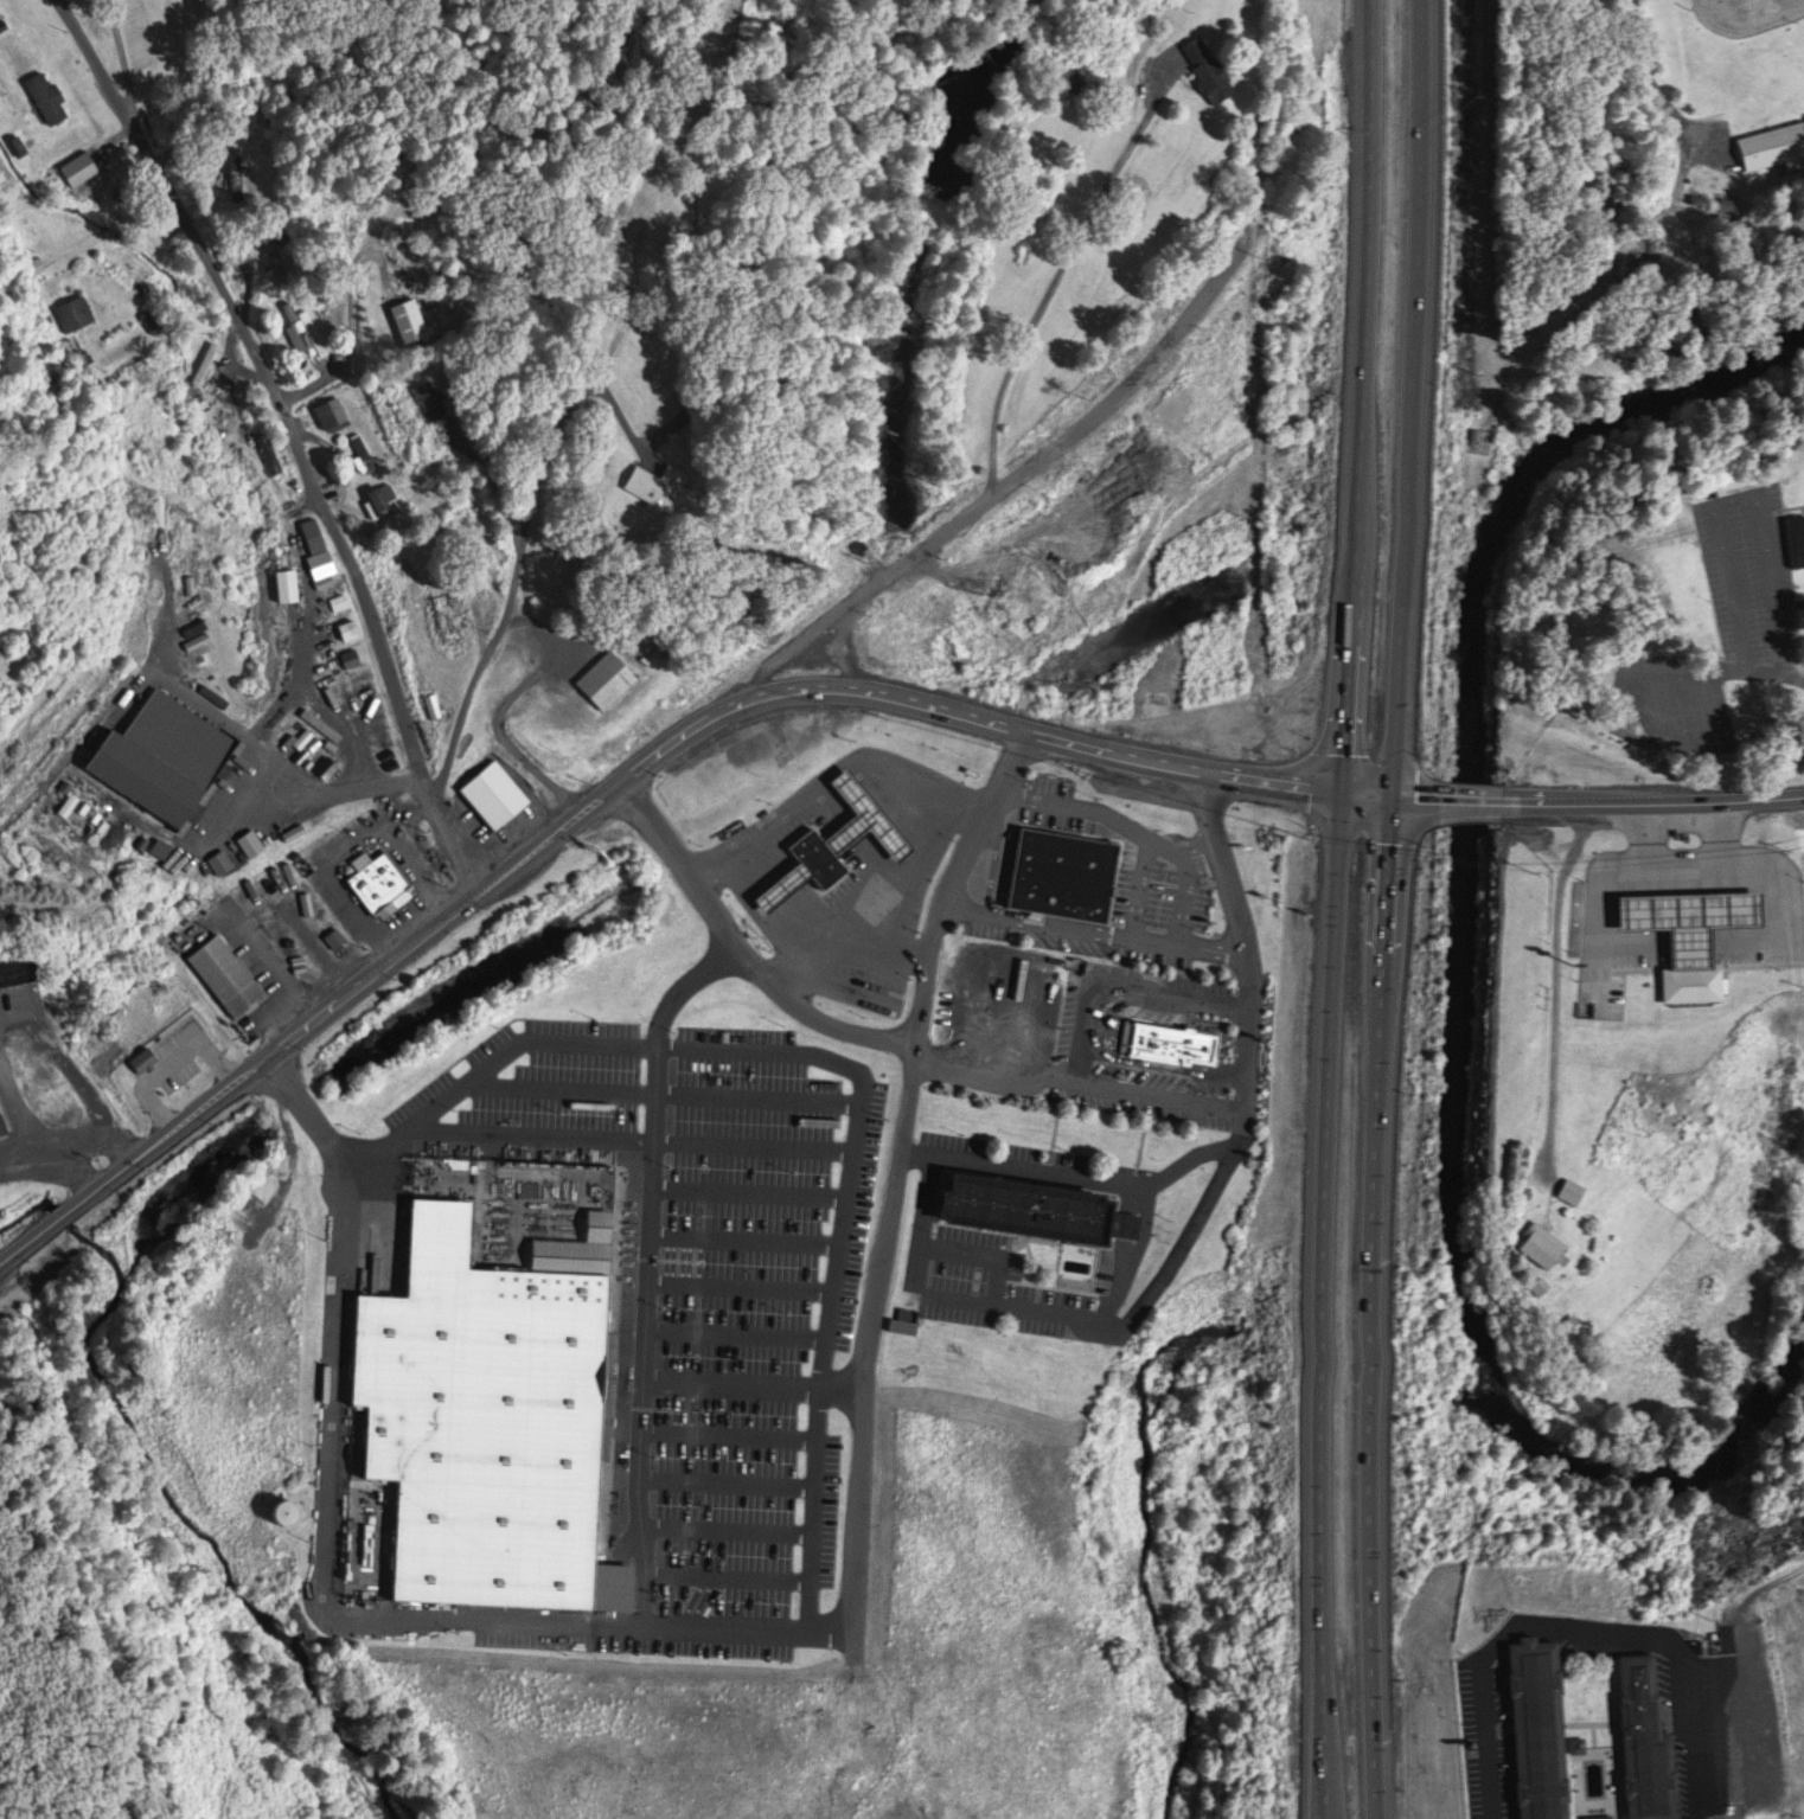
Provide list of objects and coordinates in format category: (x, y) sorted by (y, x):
building: (0, 1)
park: (1747, 14)
building: (1214, 60)
building: (1200, 65)
road: (127, 68)
road: (1662, 85)
building: (55, 94)
building: (1774, 137)
building: (239, 175)
building: (275, 257)
road: (1601, 269)
building: (78, 309)
building: (412, 314)
road: (356, 326)
building: (307, 328)
building: (210, 364)
road: (587, 390)
building: (434, 397)
building: (337, 415)
building: (691, 415)
road: (1002, 433)
road: (290, 437)
building: (1484, 440)
building: (271, 454)
building: (369, 455)
building: (671, 469)
road: (495, 474)
building: (670, 489)
road: (1739, 498)
building: (385, 500)
road: (1044, 531)
building: (1798, 532)
building: (315, 538)
building: (330, 563)
building: (289, 583)
building: (344, 603)
building: (453, 613)
building: (352, 627)
road: (846, 652)
building: (356, 658)
building: (612, 662)
road: (1720, 665)
road: (480, 666)
road: (503, 710)
building: (162, 756)
road: (647, 763)
building: (499, 784)
road: (298, 793)
traffic signals: (1345, 794)
traffic signals: (1394, 800)
road: (1477, 805)
road: (1662, 805)
building: (837, 827)
road: (1727, 833)
road: (1639, 835)
building: (232, 856)
road: (1723, 863)
building: (1067, 866)
building: (385, 884)
road: (1339, 909)
road: (1387, 909)
gas station: (1693, 927)
building: (1681, 931)
road: (1593, 933)
building: (339, 936)
road: (741, 952)
building: (20, 962)
building: (234, 971)
river: (1459, 972)
parking lot: (863, 982)
road: (1560, 995)
parking lot: (998, 1006)
building: (1179, 1036)
road: (1085, 1042)
road: (672, 1045)
building: (141, 1058)
road: (81, 1070)
road: (1247, 1076)
road: (998, 1081)
road: (665, 1091)
building: (2, 1119)
road: (372, 1149)
road: (63, 1161)
road: (1029, 1168)
building: (1575, 1184)
road: (896, 1186)
road: (748, 1190)
building: (1562, 1190)
building: (1045, 1203)
road: (926, 1206)
building: (1546, 1235)
road: (744, 1236)
building: (583, 1243)
building: (1529, 1243)
road: (646, 1270)
road: (740, 1285)
road: (735, 1331)
road: (733, 1382)
road: (842, 1386)
road: (338, 1390)
building: (491, 1418)
road: (728, 1433)
road: (725, 1479)
road: (724, 1527)
road: (729, 1574)
road: (1523, 1619)
road: (640, 1622)
road: (834, 1629)
road: (1721, 1672)
building: (1546, 1728)

